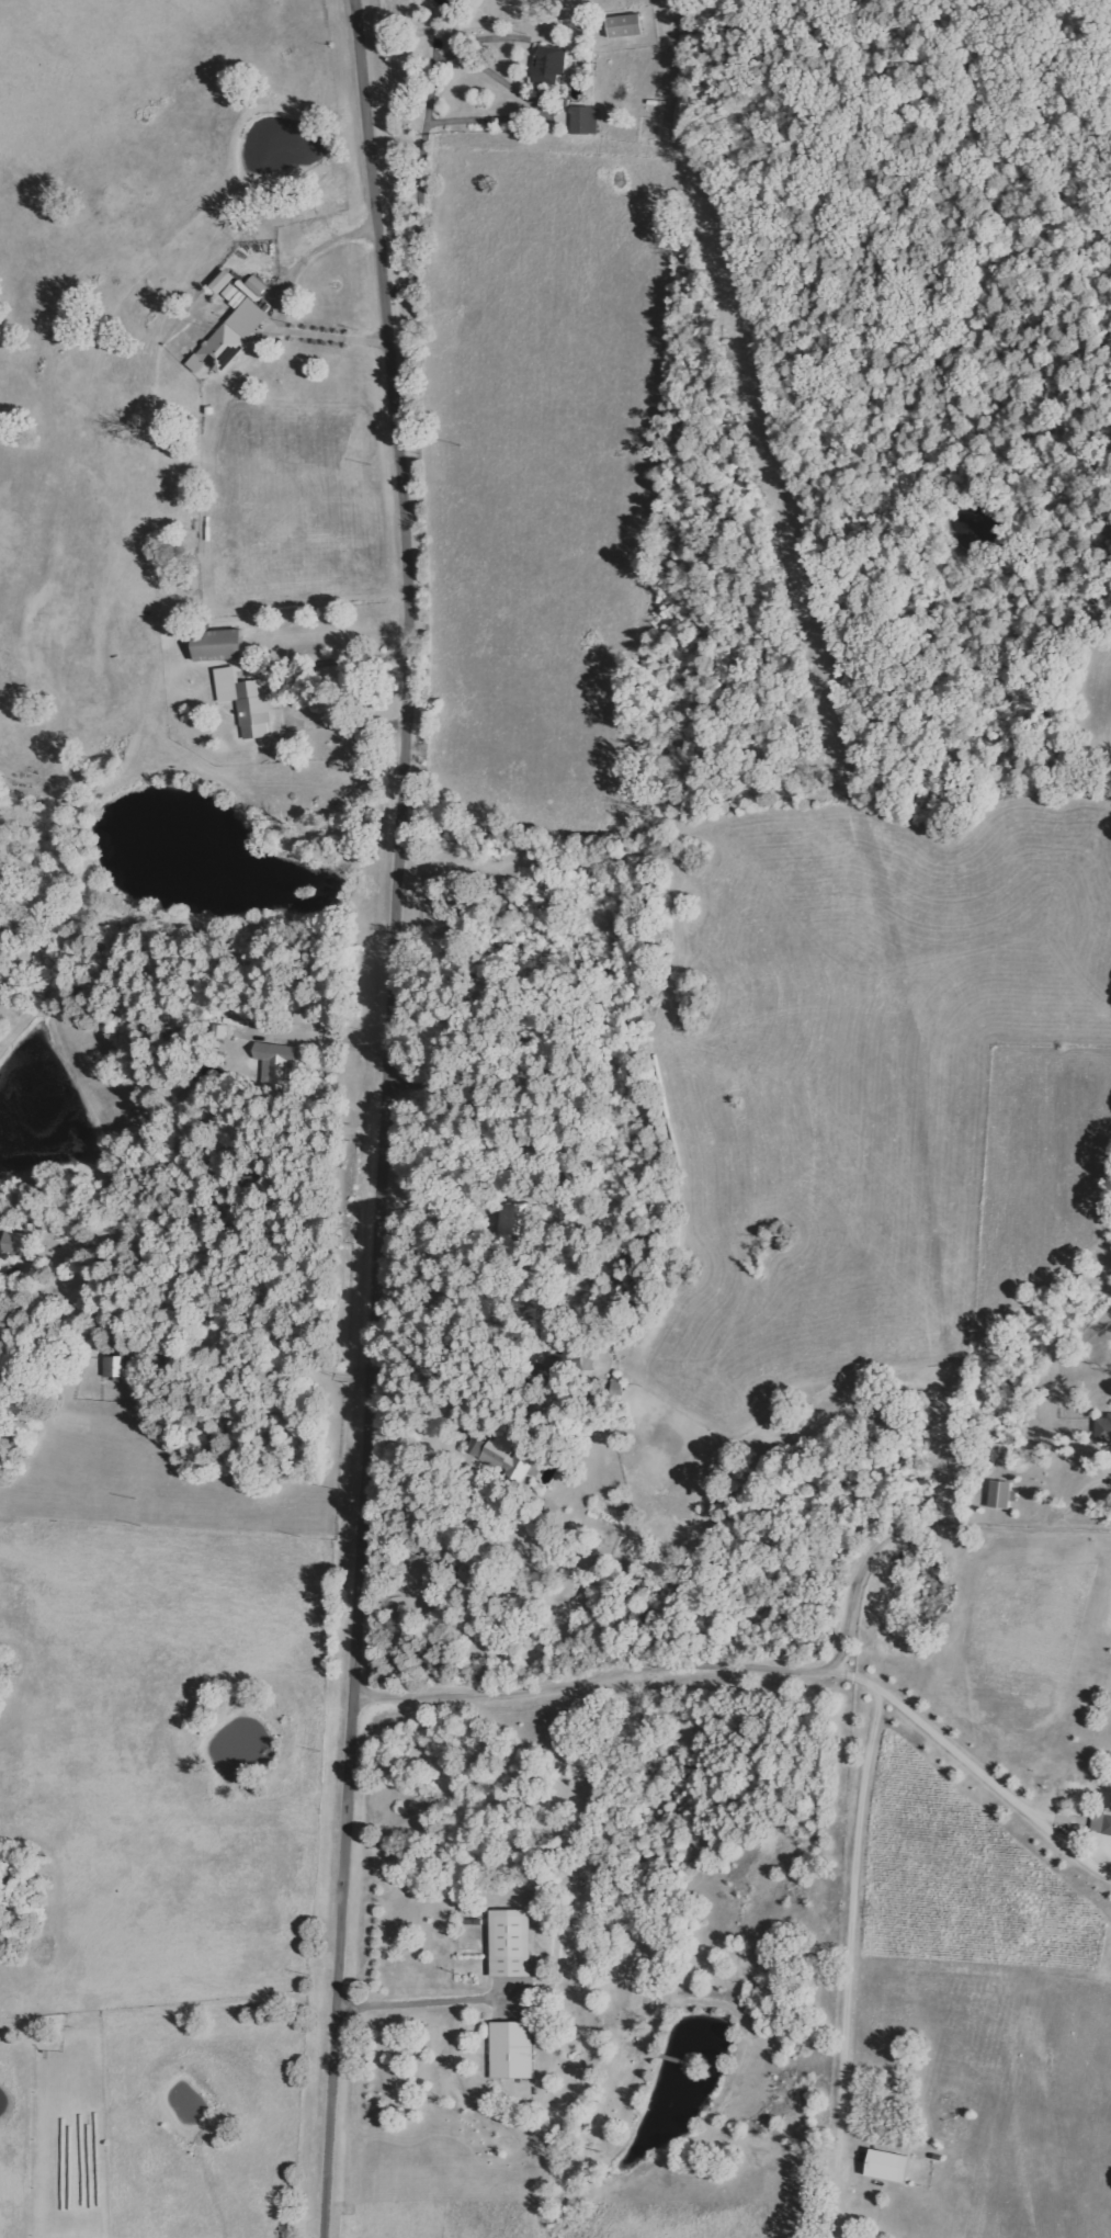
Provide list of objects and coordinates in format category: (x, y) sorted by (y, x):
building: (625, 26)
building: (548, 66)
building: (583, 120)
building: (238, 289)
road: (276, 304)
building: (230, 338)
building: (218, 644)
building: (245, 701)
road: (316, 1039)
building: (274, 1064)
road: (387, 1118)
building: (511, 1220)
building: (20, 1244)
building: (116, 1367)
road: (1044, 1381)
building: (1103, 1429)
building: (506, 1458)
building: (1000, 1495)
road: (778, 1668)
road: (988, 1782)
building: (1101, 1821)
road: (855, 1932)
building: (510, 1944)
road: (422, 2009)
building: (511, 2050)
building: (889, 2167)

